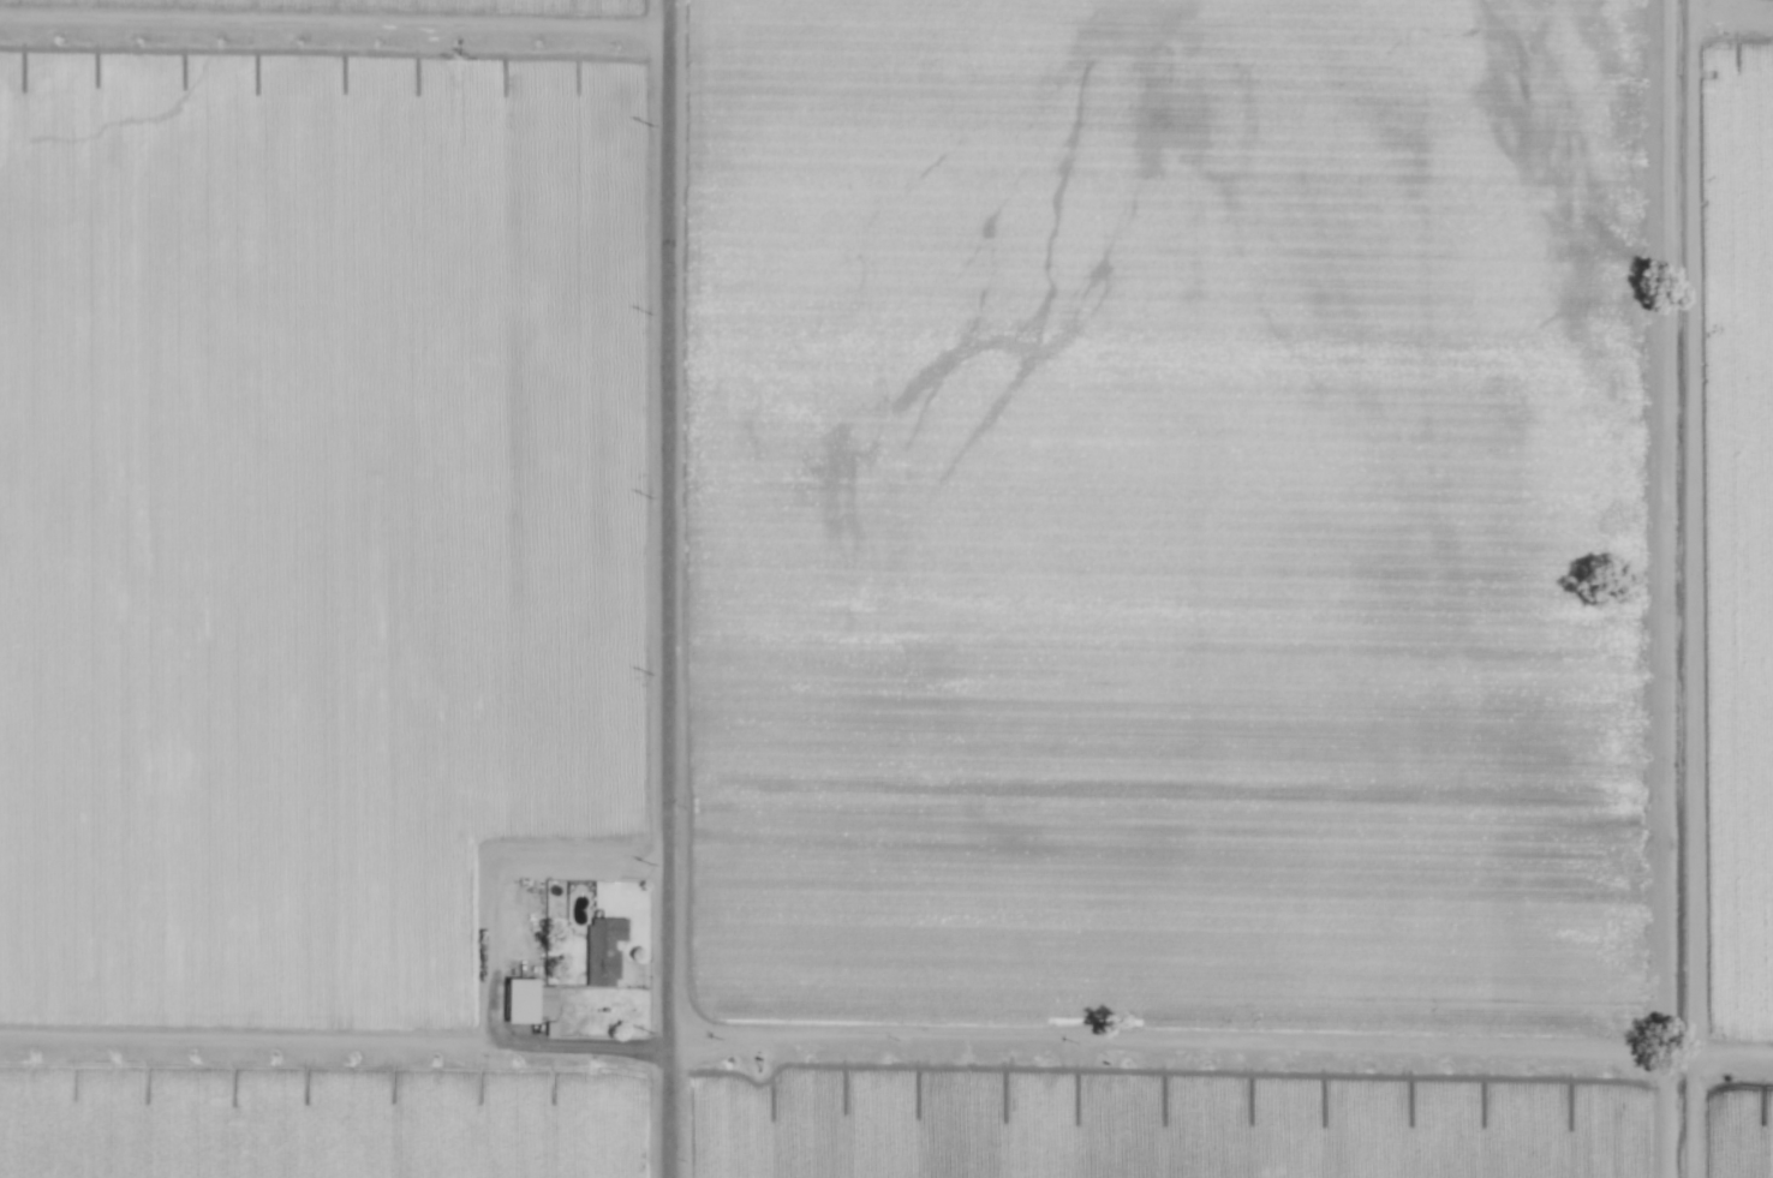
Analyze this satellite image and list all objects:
crop: (1713, 19)
road: (668, 588)
crop: (886, 588)
building: (607, 949)
road: (334, 1041)

